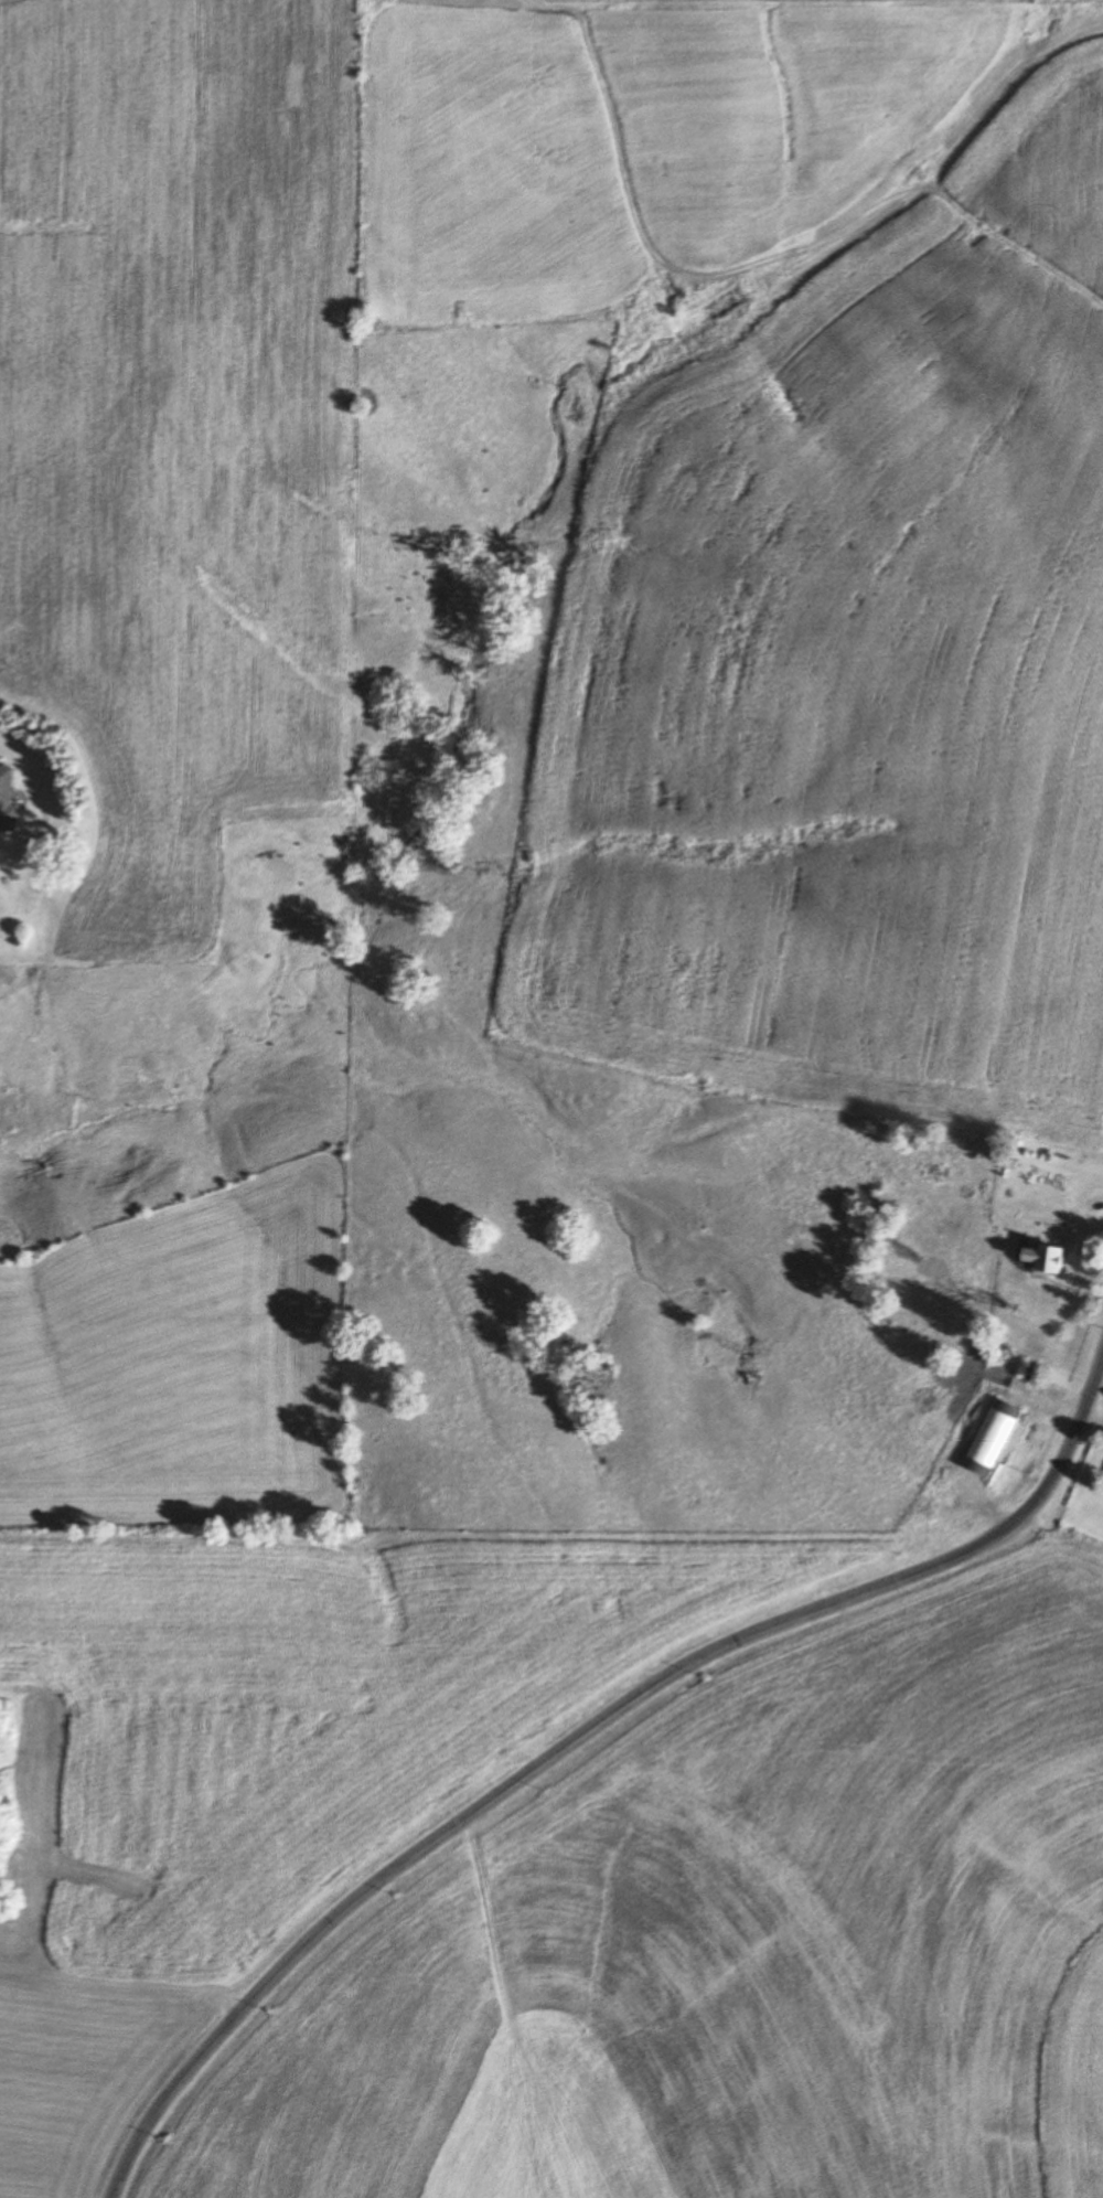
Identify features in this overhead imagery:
road: (583, 1733)

